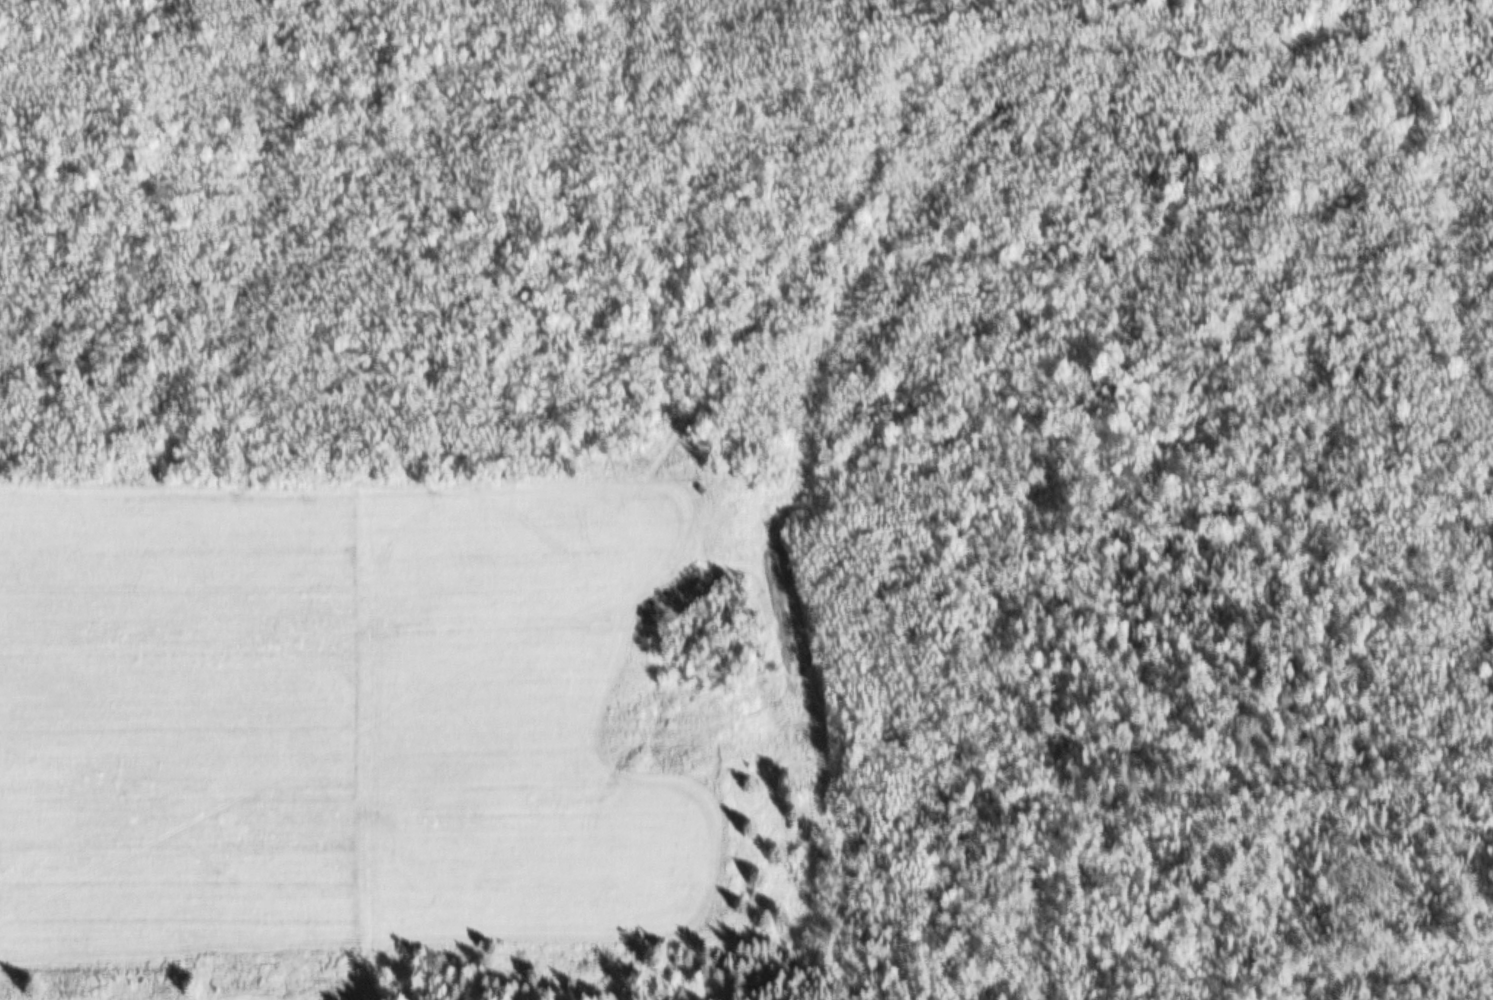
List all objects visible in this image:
road: (21, 975)

